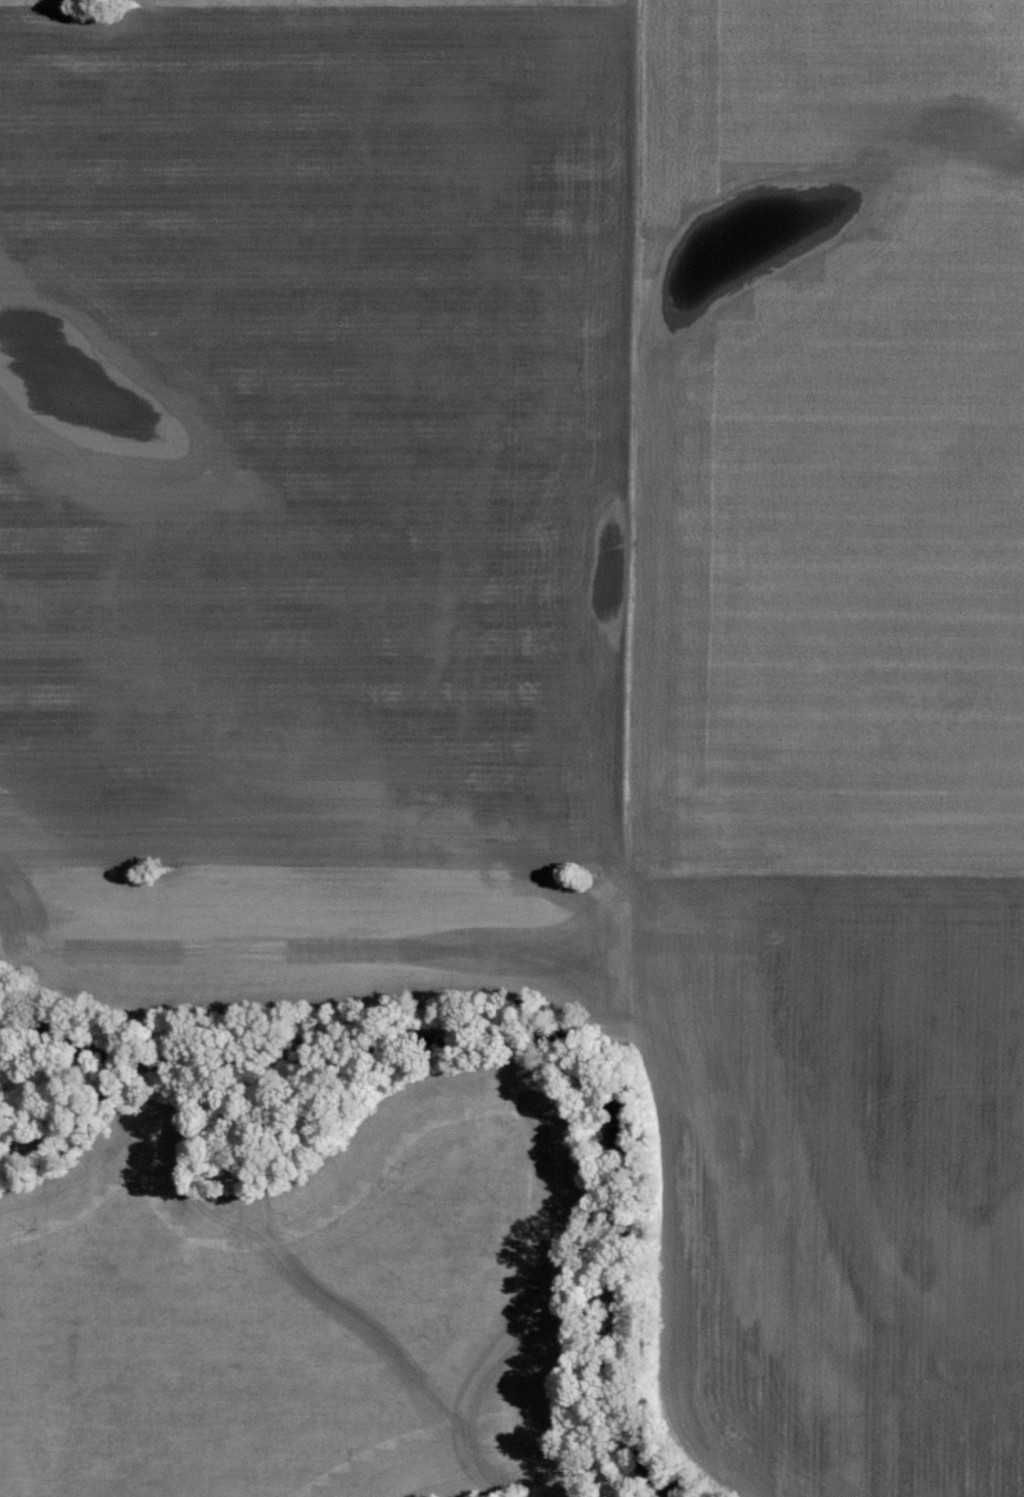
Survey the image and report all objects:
road: (631, 437)
road: (808, 874)

